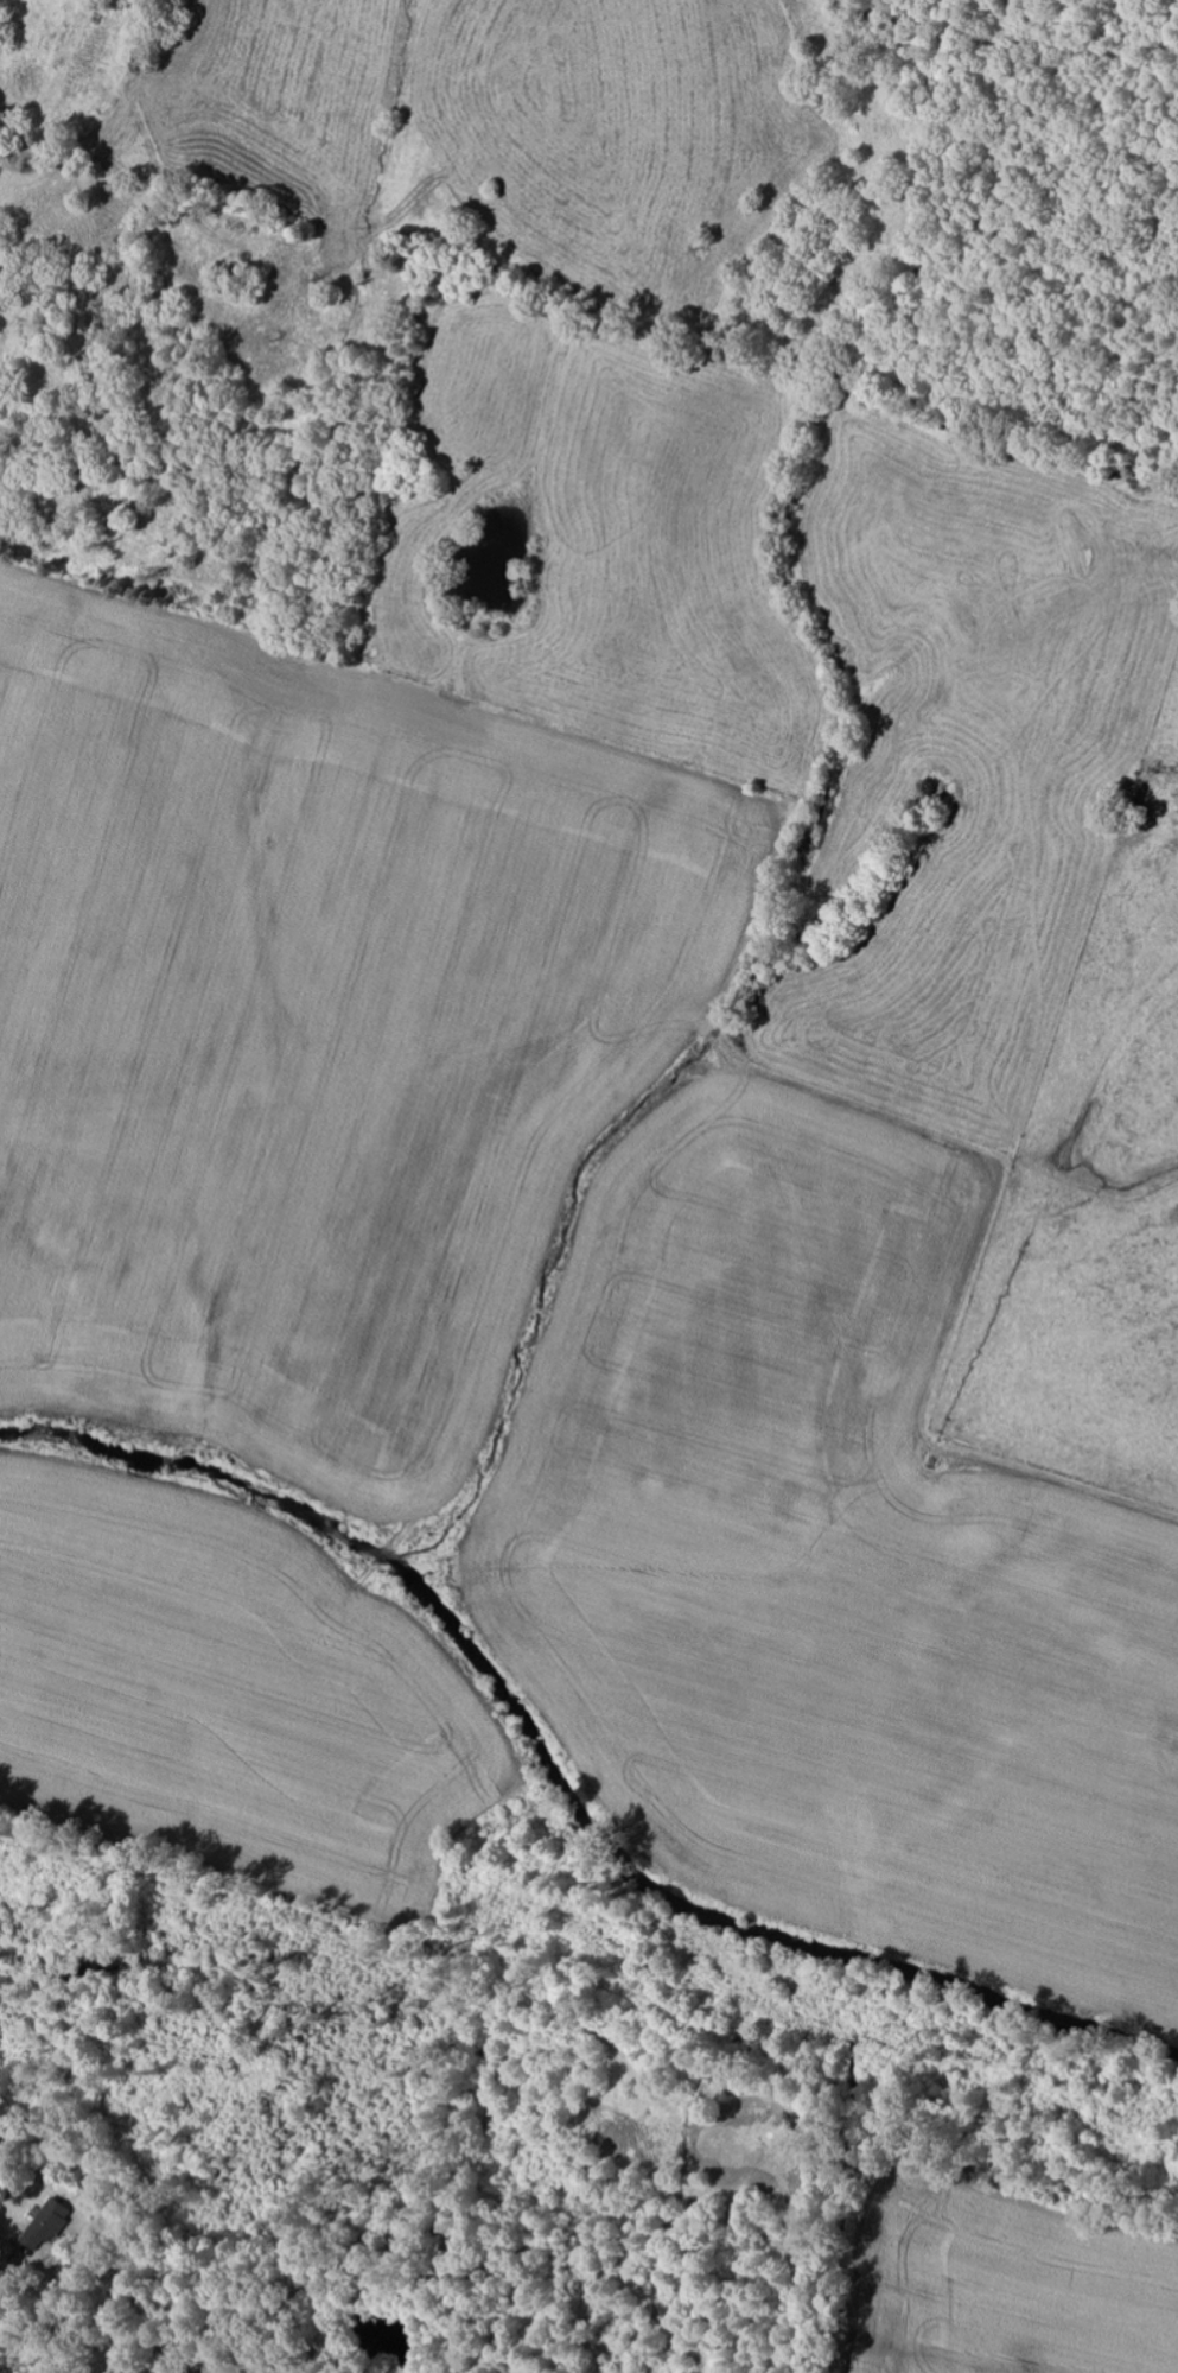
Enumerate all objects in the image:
road: (157, 167)
building: (51, 2226)

